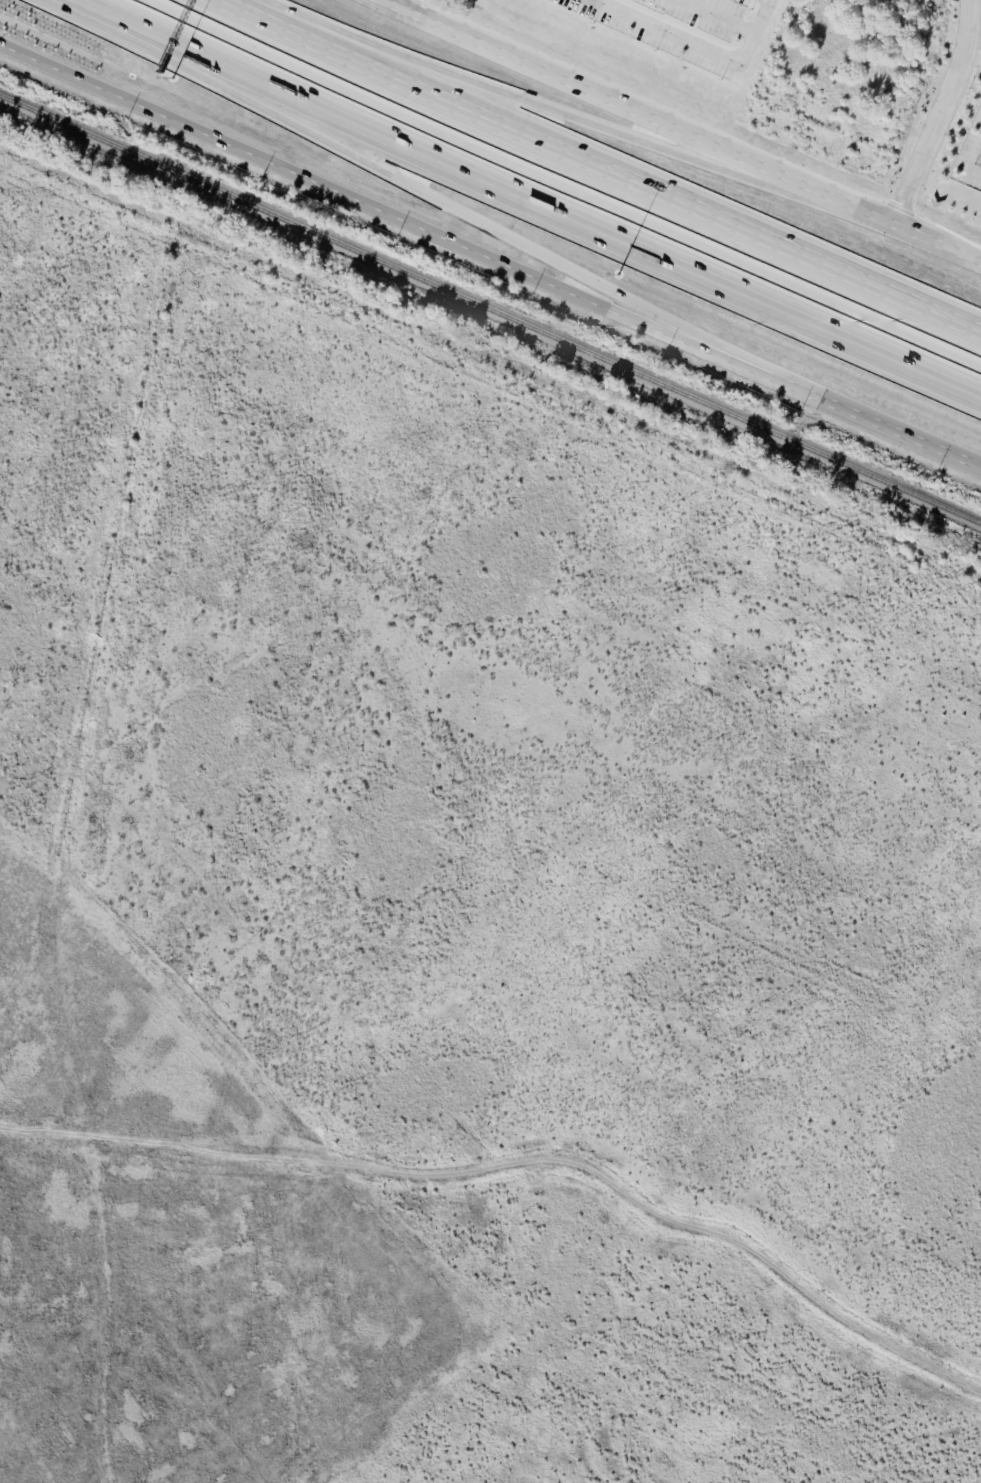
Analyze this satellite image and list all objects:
road: (384, 1)
road: (131, 9)
road: (248, 9)
road: (719, 17)
road: (975, 27)
road: (704, 44)
road: (609, 101)
road: (554, 110)
road: (936, 114)
road: (977, 161)
road: (625, 175)
road: (330, 179)
road: (400, 179)
road: (566, 203)
road: (865, 214)
road: (936, 245)
railway: (490, 311)
road: (820, 393)
road: (522, 1167)
railway: (490, 1380)

